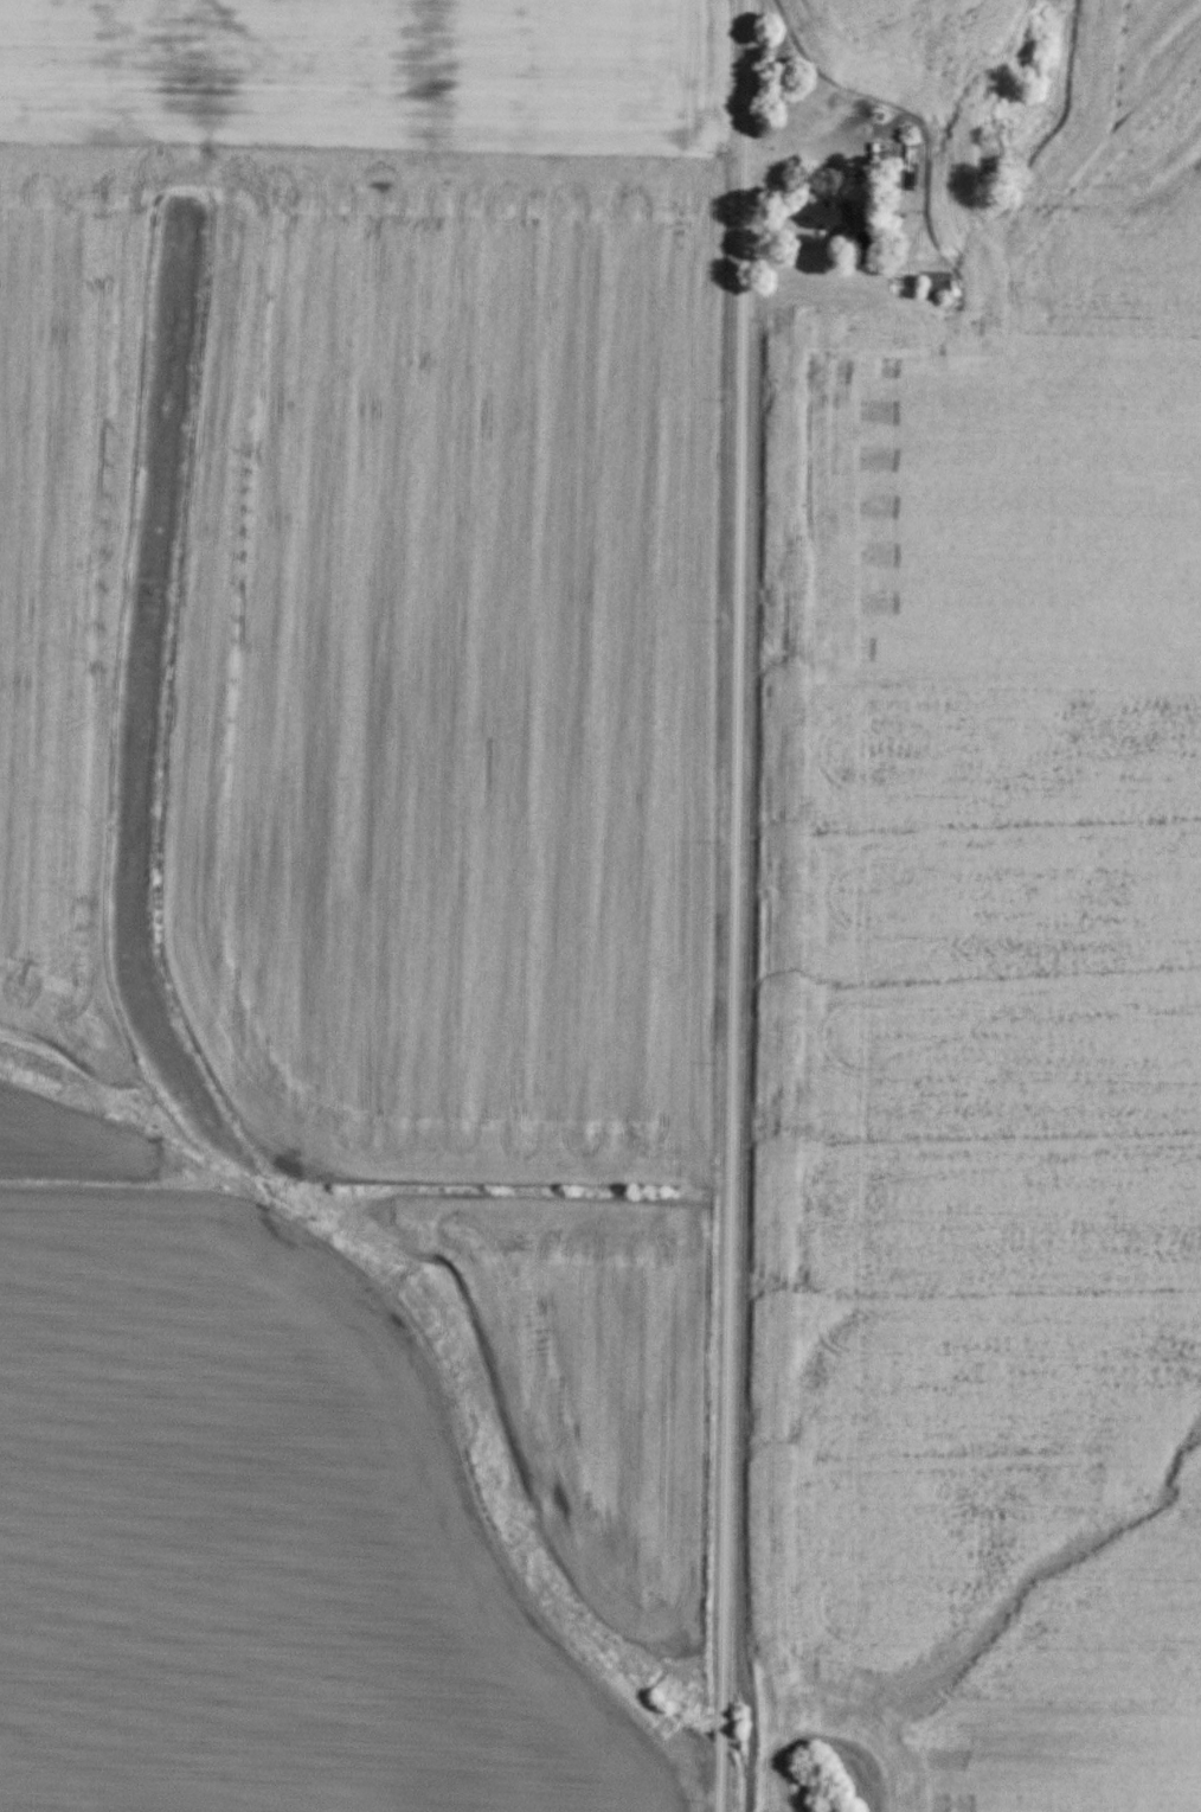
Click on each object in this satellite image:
building: (831, 212)
building: (936, 287)
road: (734, 905)

